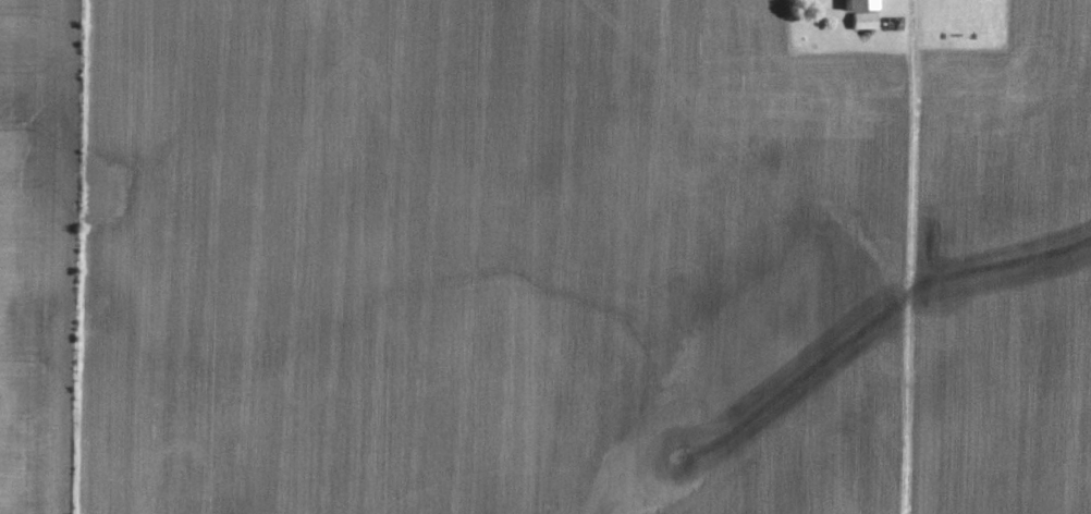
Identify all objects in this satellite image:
building: (861, 17)

